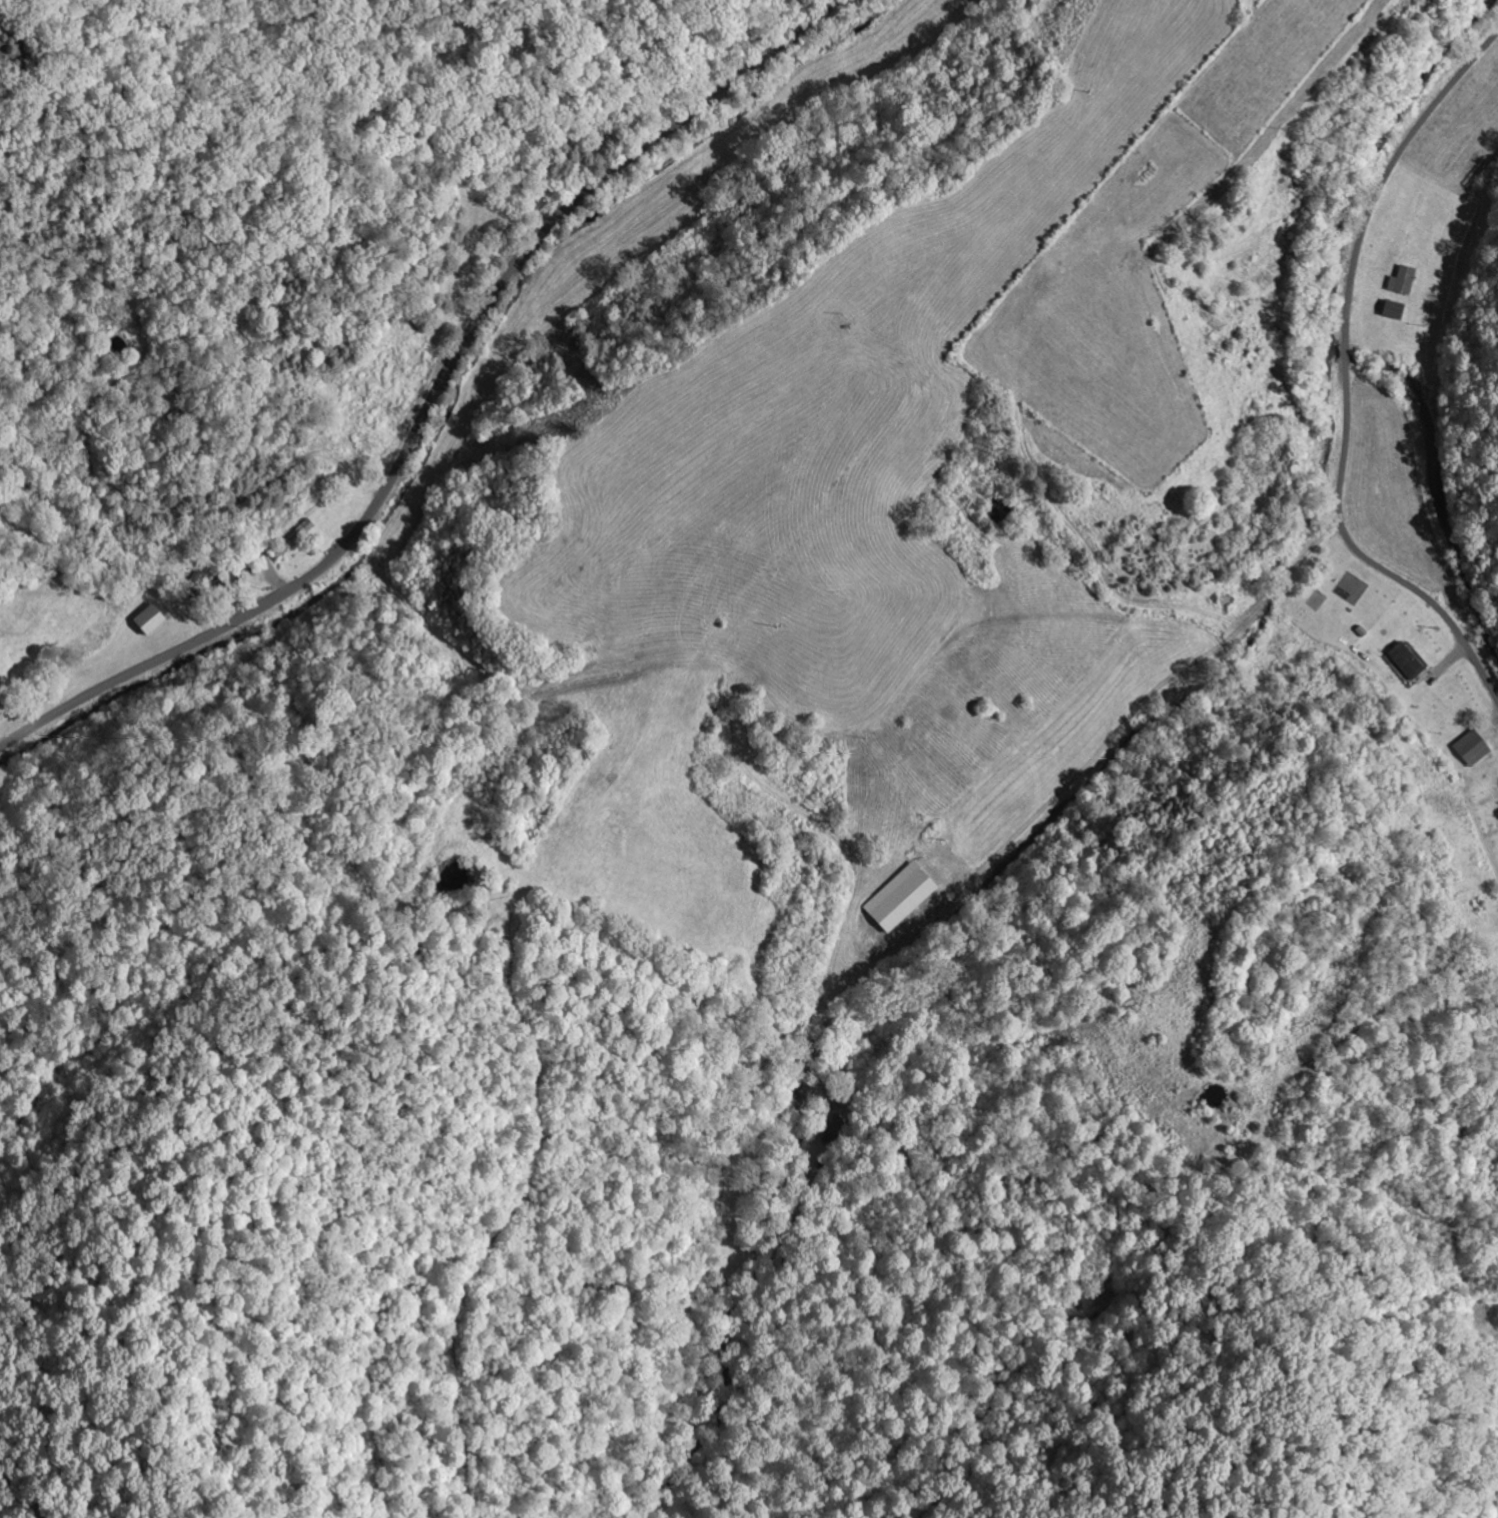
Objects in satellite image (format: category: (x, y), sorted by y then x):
building: (1403, 278)
building: (1394, 307)
road: (1341, 376)
road: (435, 398)
building: (150, 617)
building: (1406, 659)
building: (1473, 746)
building: (901, 895)
road: (823, 1110)

